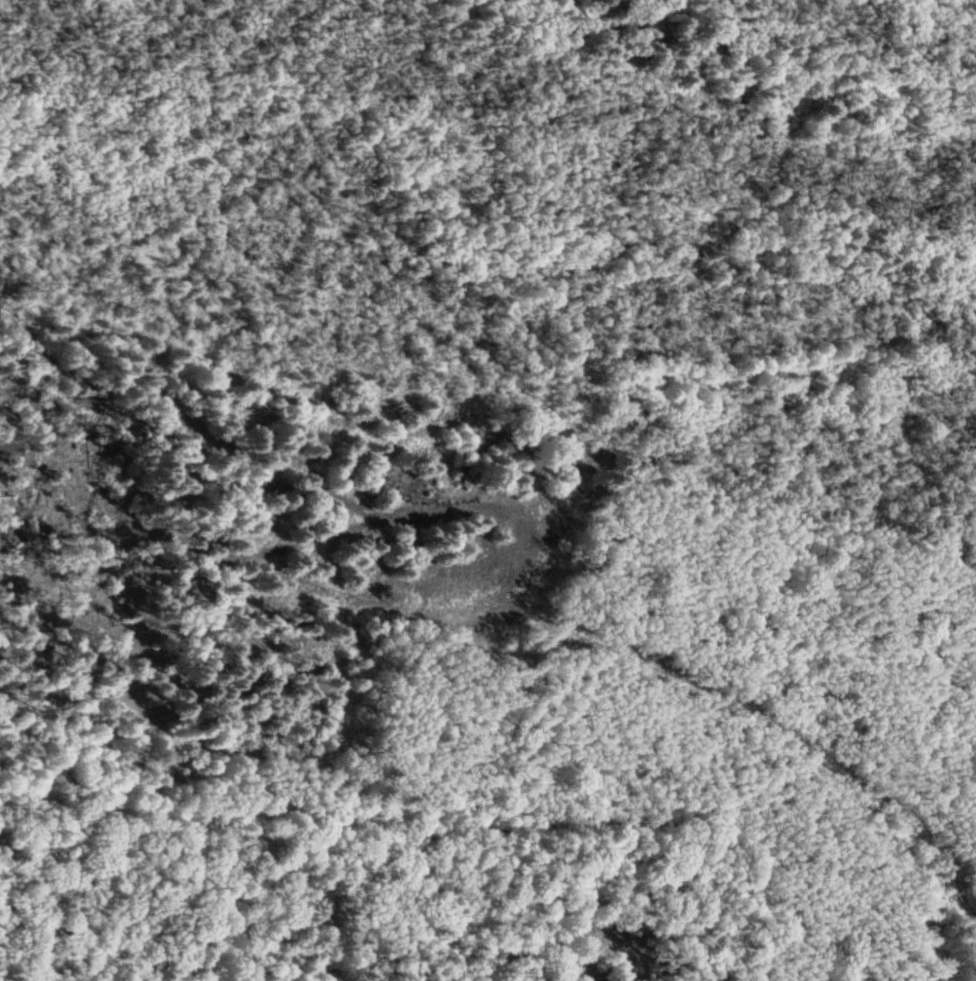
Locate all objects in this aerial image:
road: (79, 934)

